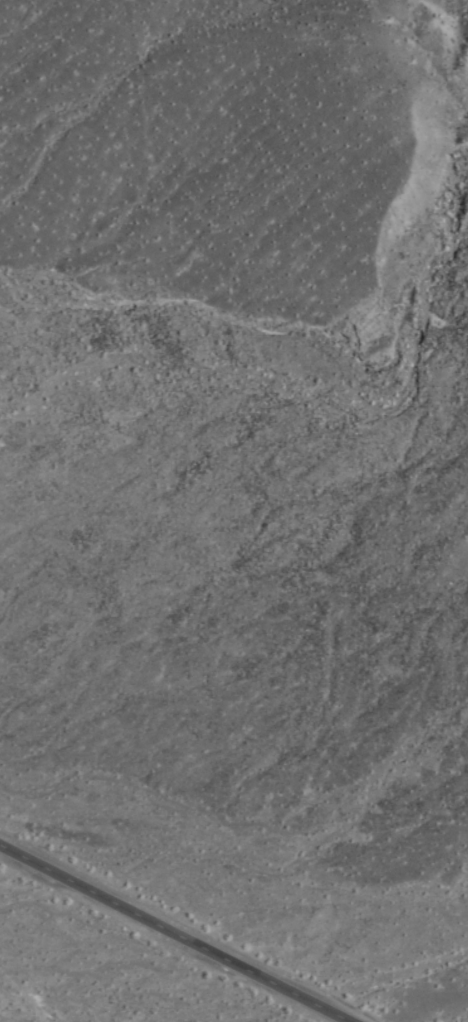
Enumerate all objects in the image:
road: (173, 929)

